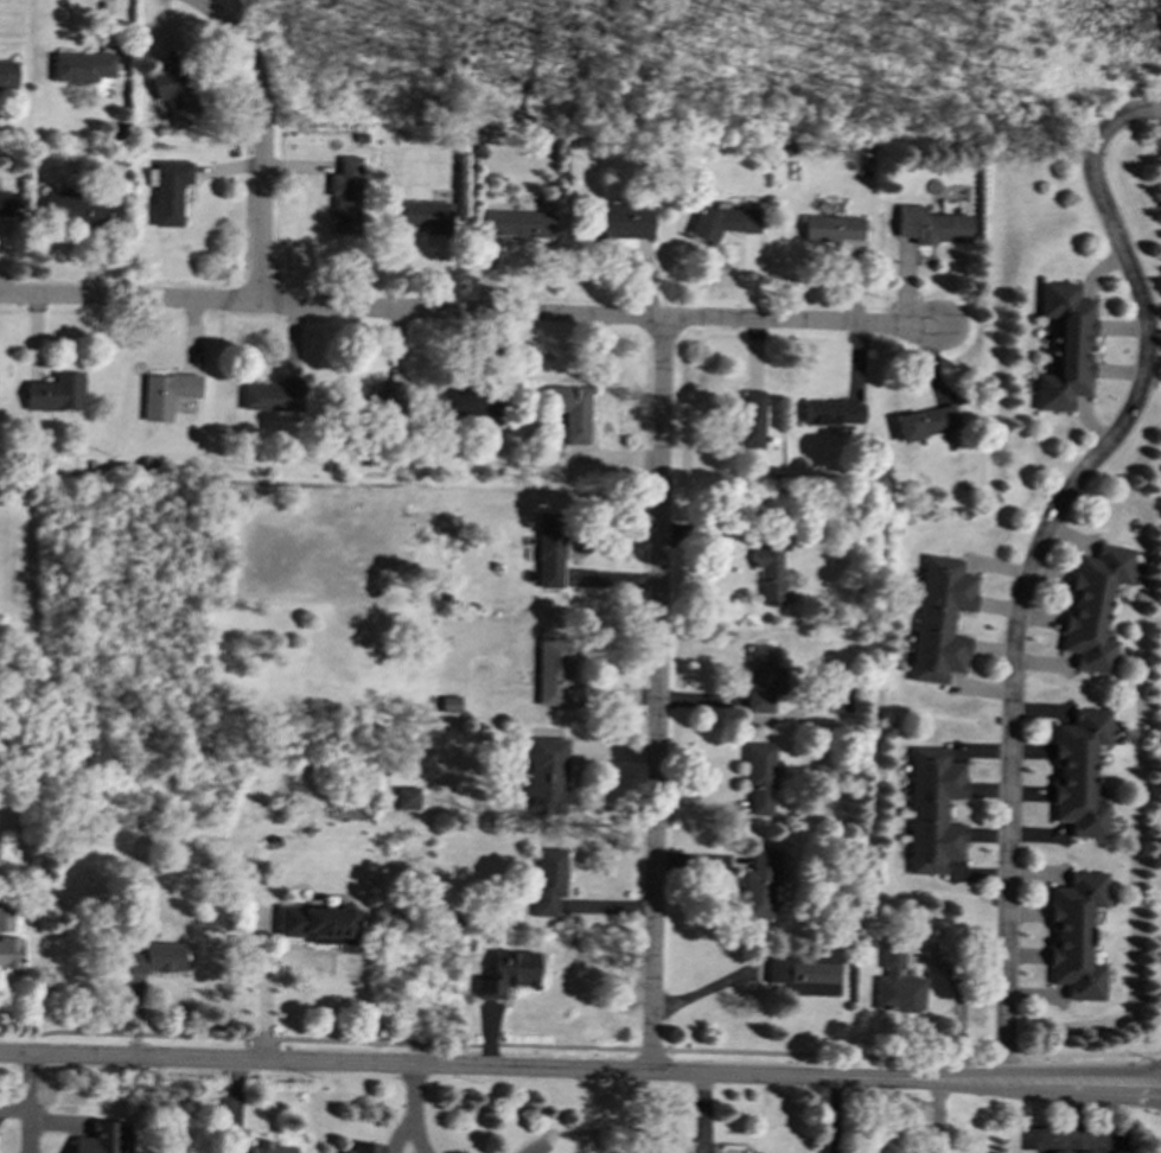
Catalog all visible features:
building: (81, 66)
building: (7, 76)
building: (174, 95)
road: (262, 139)
building: (167, 190)
building: (346, 196)
building: (6, 203)
building: (71, 206)
building: (421, 215)
building: (621, 221)
building: (723, 221)
building: (518, 223)
building: (932, 225)
building: (830, 229)
road: (467, 313)
building: (1065, 346)
building: (56, 391)
building: (166, 394)
building: (273, 395)
building: (374, 400)
building: (468, 402)
building: (569, 412)
building: (833, 412)
building: (748, 419)
building: (926, 423)
building: (550, 550)
road: (1035, 558)
building: (768, 567)
building: (1093, 606)
building: (940, 619)
building: (553, 669)
building: (763, 677)
road: (657, 696)
building: (835, 700)
building: (451, 703)
building: (1080, 772)
building: (544, 777)
building: (759, 778)
building: (407, 797)
building: (933, 810)
building: (547, 880)
building: (5, 918)
building: (315, 923)
building: (1077, 935)
building: (9, 951)
building: (157, 957)
building: (506, 973)
building: (804, 975)
building: (897, 985)
road: (263, 1000)
road: (956, 1005)
road: (580, 1047)
road: (580, 1071)
road: (410, 1110)
building: (102, 1139)
building: (268, 1148)
building: (362, 1149)
road: (528, 1151)
building: (1068, 1151)
building: (231, 1152)

